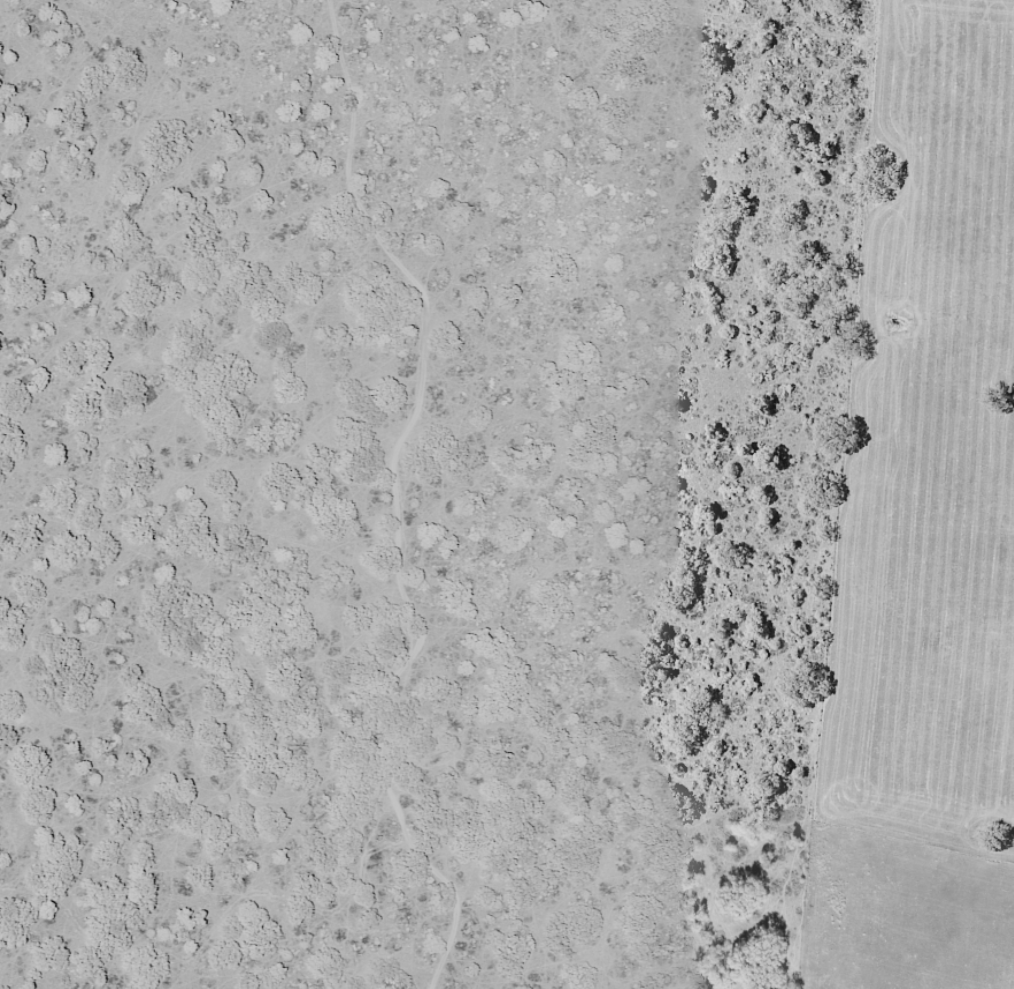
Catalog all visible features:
road: (393, 497)

